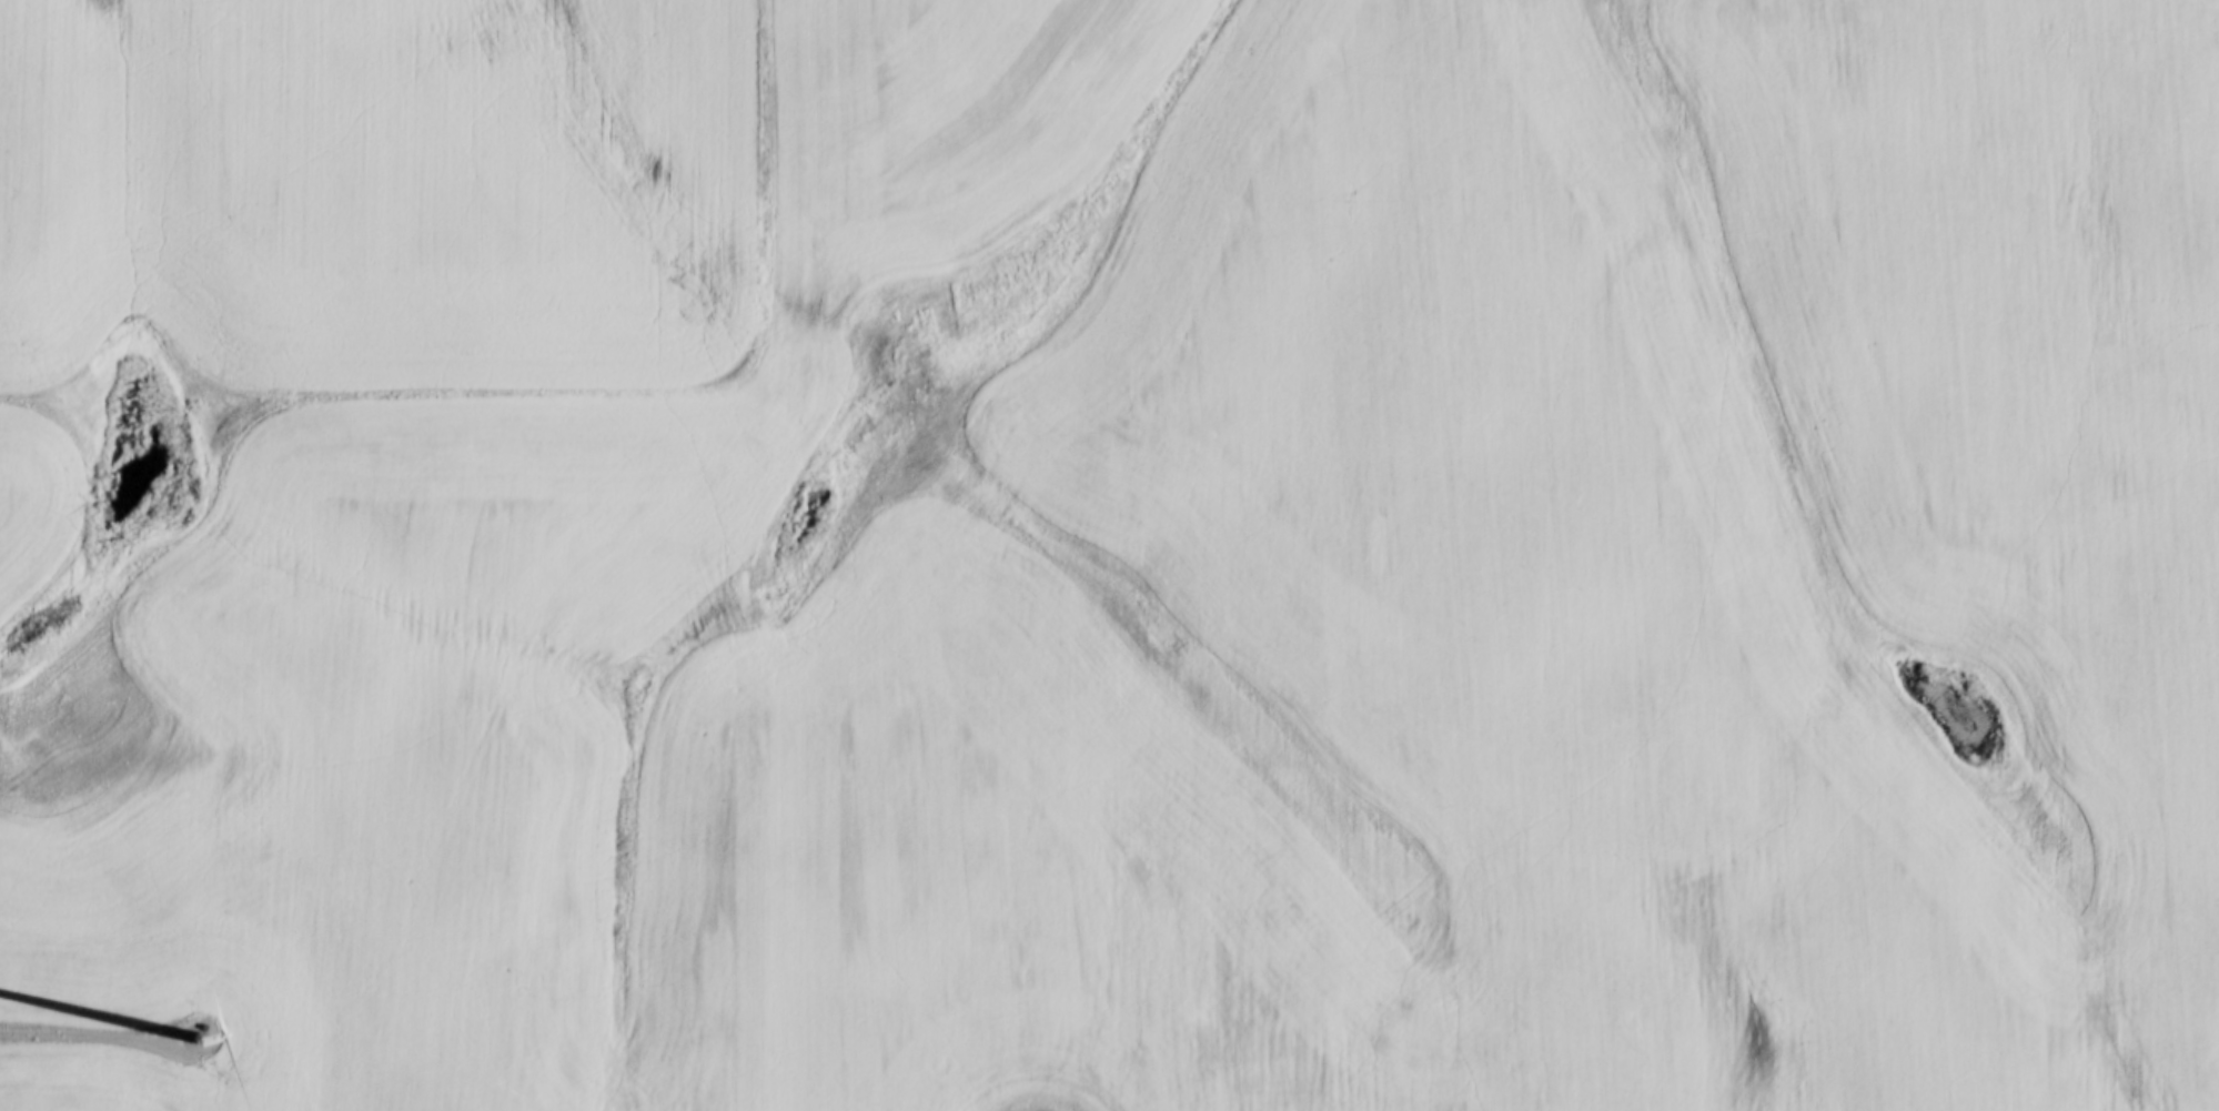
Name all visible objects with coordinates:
road: (81, 1039)
wind turbine: (204, 1042)

